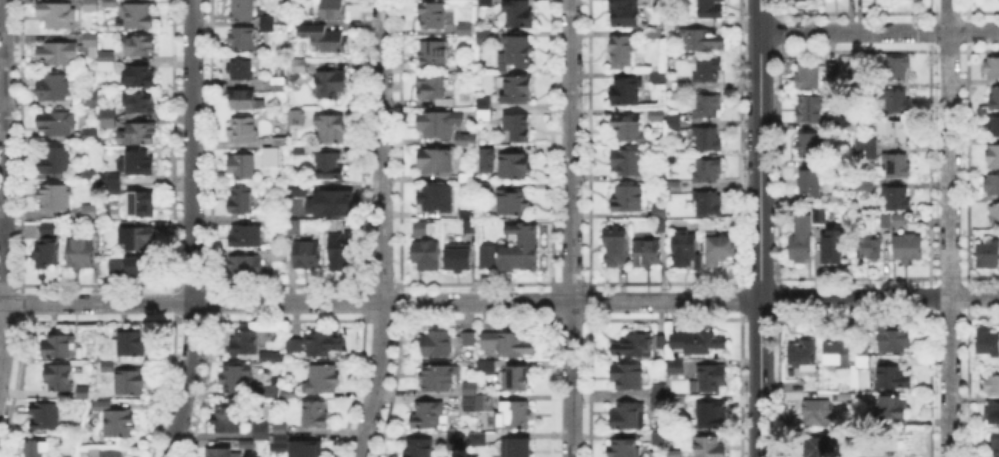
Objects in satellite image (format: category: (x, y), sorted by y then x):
building: (800, 0)
building: (488, 2)
building: (111, 3)
building: (92, 5)
building: (332, 9)
building: (710, 9)
building: (242, 10)
building: (520, 14)
building: (57, 16)
building: (436, 16)
building: (625, 16)
road: (760, 16)
building: (139, 18)
building: (264, 21)
building: (465, 27)
road: (879, 31)
building: (324, 38)
building: (92, 39)
building: (701, 39)
building: (243, 40)
building: (139, 46)
building: (94, 51)
building: (519, 52)
building: (58, 54)
building: (622, 54)
building: (433, 55)
building: (108, 56)
building: (299, 63)
building: (104, 64)
building: (897, 68)
building: (993, 68)
building: (241, 70)
building: (709, 71)
building: (832, 71)
building: (808, 77)
building: (139, 78)
building: (656, 78)
building: (278, 84)
building: (331, 85)
building: (54, 89)
building: (432, 89)
building: (517, 90)
building: (626, 92)
building: (91, 100)
building: (243, 100)
building: (994, 100)
building: (899, 102)
building: (139, 103)
building: (447, 105)
building: (708, 107)
building: (811, 110)
building: (296, 113)
building: (657, 114)
building: (483, 116)
building: (109, 119)
building: (840, 122)
building: (57, 124)
building: (674, 124)
building: (439, 125)
building: (992, 127)
building: (517, 128)
building: (332, 129)
building: (630, 129)
building: (242, 130)
building: (896, 133)
building: (90, 134)
building: (139, 135)
building: (709, 139)
building: (467, 140)
building: (279, 142)
building: (809, 146)
building: (868, 148)
building: (299, 149)
building: (270, 156)
building: (484, 158)
building: (994, 158)
building: (54, 161)
building: (437, 162)
building: (628, 163)
building: (138, 164)
building: (513, 166)
road: (760, 166)
building: (897, 166)
building: (243, 167)
building: (332, 167)
building: (90, 171)
building: (707, 172)
building: (659, 175)
building: (466, 177)
building: (111, 179)
building: (810, 183)
road: (3, 184)
building: (992, 184)
building: (486, 186)
building: (295, 187)
building: (115, 189)
building: (85, 197)
building: (56, 198)
building: (438, 199)
building: (629, 199)
building: (897, 199)
building: (241, 201)
building: (707, 202)
building: (331, 203)
building: (514, 203)
building: (142, 206)
building: (467, 210)
building: (89, 211)
building: (658, 212)
building: (267, 213)
building: (994, 215)
building: (820, 217)
building: (899, 219)
building: (885, 220)
building: (279, 224)
building: (469, 226)
building: (661, 226)
building: (294, 228)
building: (422, 228)
road: (571, 228)
road: (949, 228)
road: (192, 229)
road: (381, 229)
building: (137, 237)
building: (246, 237)
building: (801, 241)
building: (909, 246)
building: (48, 247)
building: (833, 247)
building: (871, 247)
building: (520, 248)
building: (615, 248)
building: (684, 249)
building: (720, 250)
building: (341, 251)
building: (647, 254)
building: (81, 256)
building: (307, 256)
building: (427, 256)
building: (988, 256)
building: (459, 258)
building: (487, 258)
building: (140, 266)
building: (246, 268)
road: (879, 297)
road: (380, 302)
building: (468, 339)
building: (438, 342)
building: (661, 342)
building: (896, 342)
building: (245, 343)
building: (698, 343)
building: (988, 343)
building: (324, 344)
building: (133, 345)
building: (634, 345)
building: (508, 346)
building: (60, 347)
building: (296, 347)
building: (804, 354)
building: (863, 354)
building: (839, 355)
building: (272, 356)
building: (107, 366)
building: (486, 368)
building: (677, 368)
building: (628, 377)
building: (893, 377)
building: (60, 378)
building: (237, 378)
road: (761, 378)
building: (438, 379)
building: (517, 379)
building: (710, 379)
building: (321, 380)
building: (133, 382)
building: (992, 385)
building: (269, 387)
building: (472, 388)
building: (659, 389)
building: (288, 391)
building: (86, 392)
building: (845, 395)
building: (679, 399)
building: (470, 403)
building: (658, 403)
building: (102, 405)
building: (893, 408)
building: (817, 411)
building: (993, 414)
building: (314, 415)
building: (47, 416)
building: (428, 416)
building: (514, 416)
building: (629, 416)
building: (711, 416)
building: (229, 422)
building: (121, 425)
building: (281, 429)
building: (263, 433)
building: (455, 438)
building: (478, 438)
building: (282, 440)
building: (658, 440)
building: (996, 443)
building: (709, 447)
building: (819, 447)
building: (418, 448)
building: (515, 448)
building: (39, 449)
building: (625, 449)
building: (306, 450)
building: (109, 453)
building: (675, 453)
building: (220, 454)
building: (863, 456)

